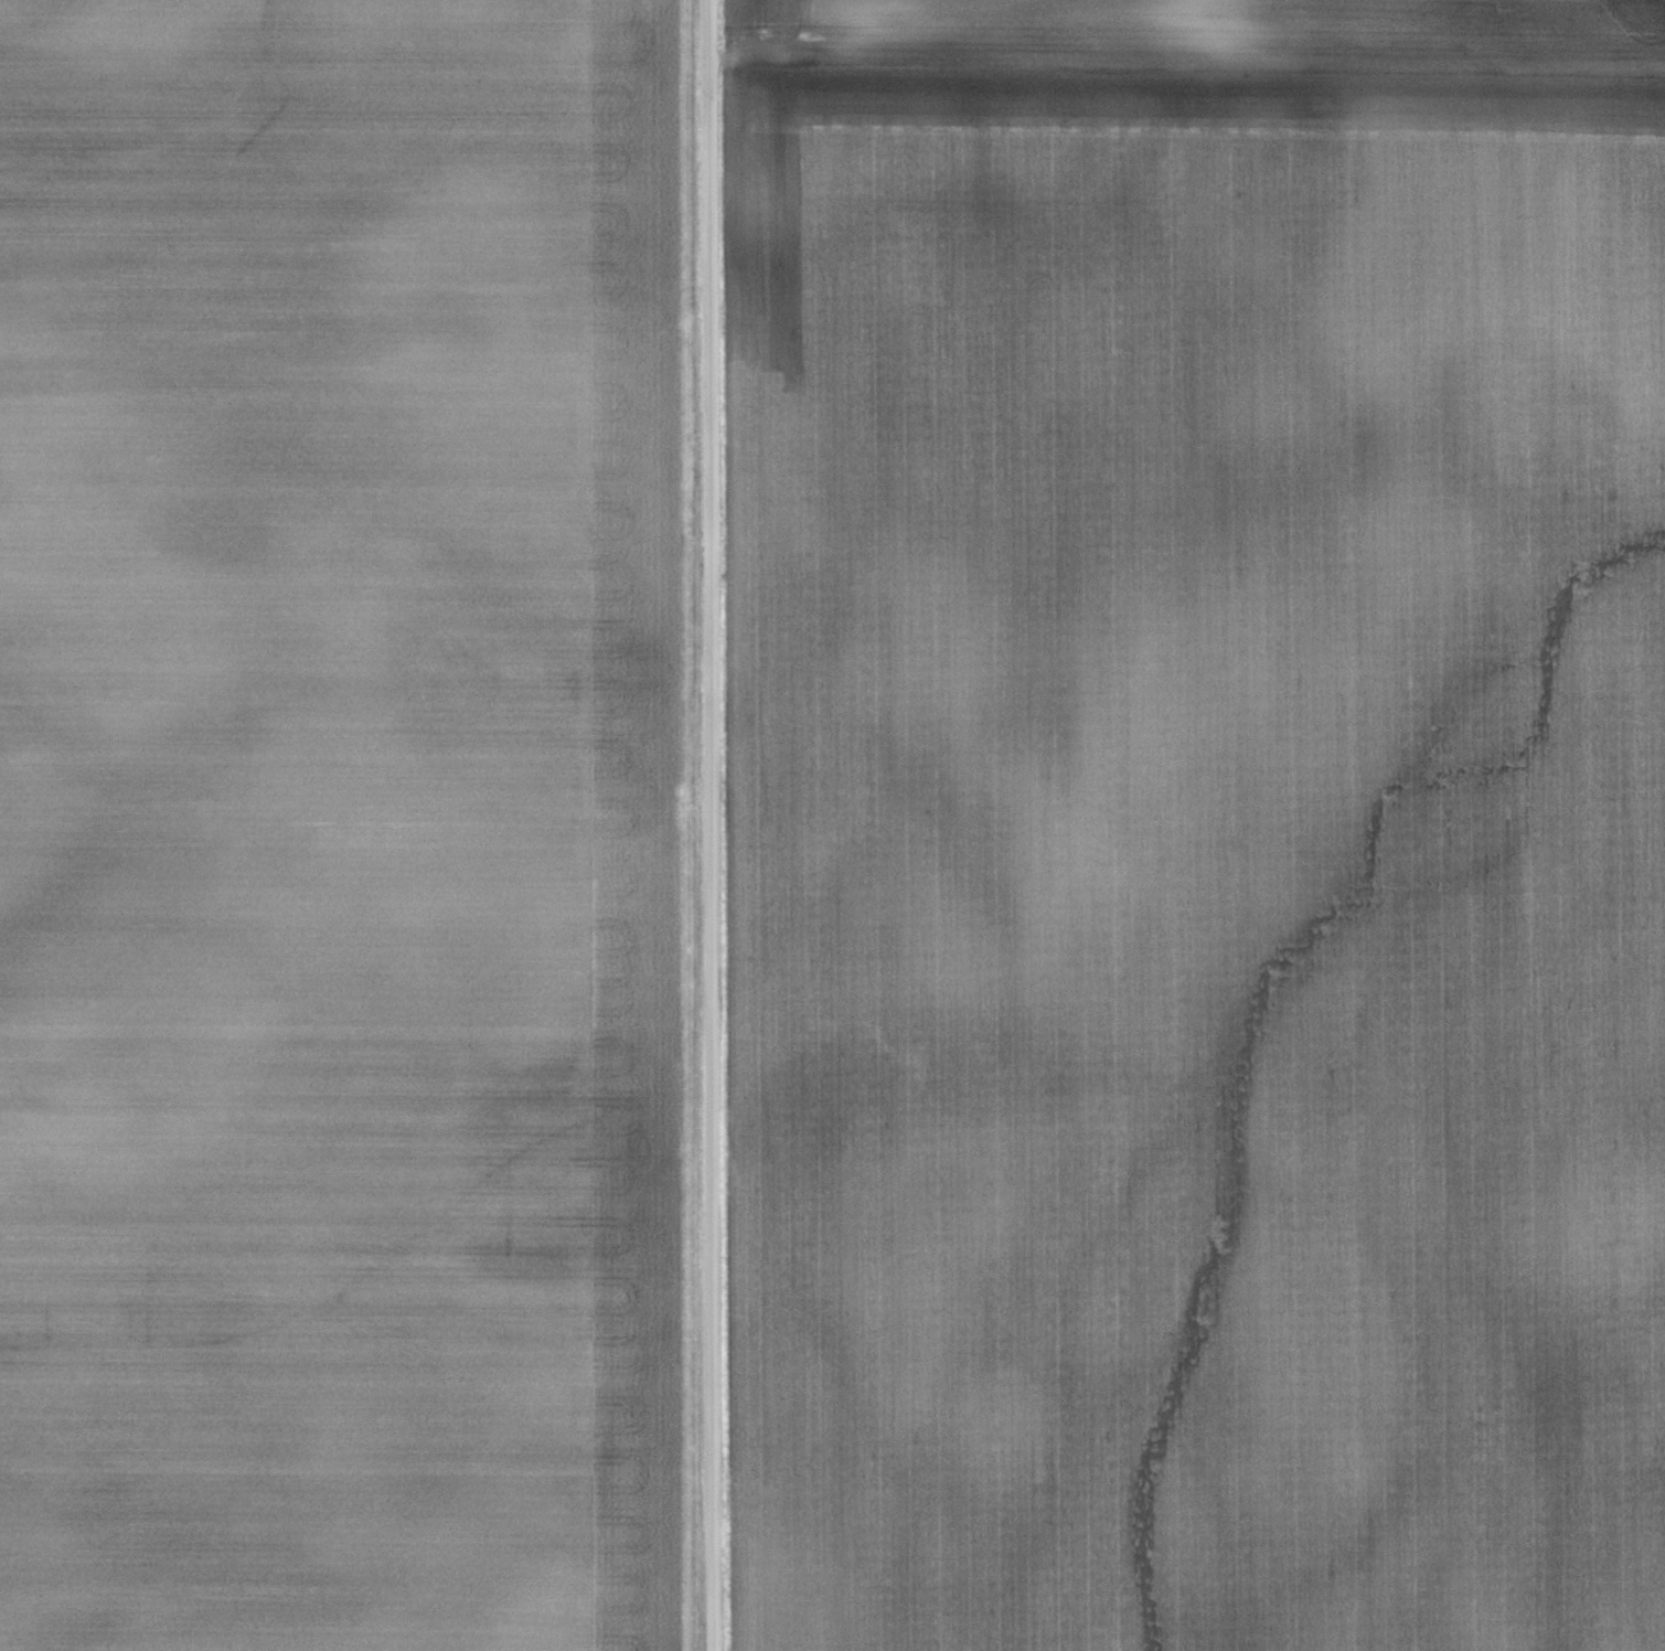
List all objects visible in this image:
road: (712, 824)

